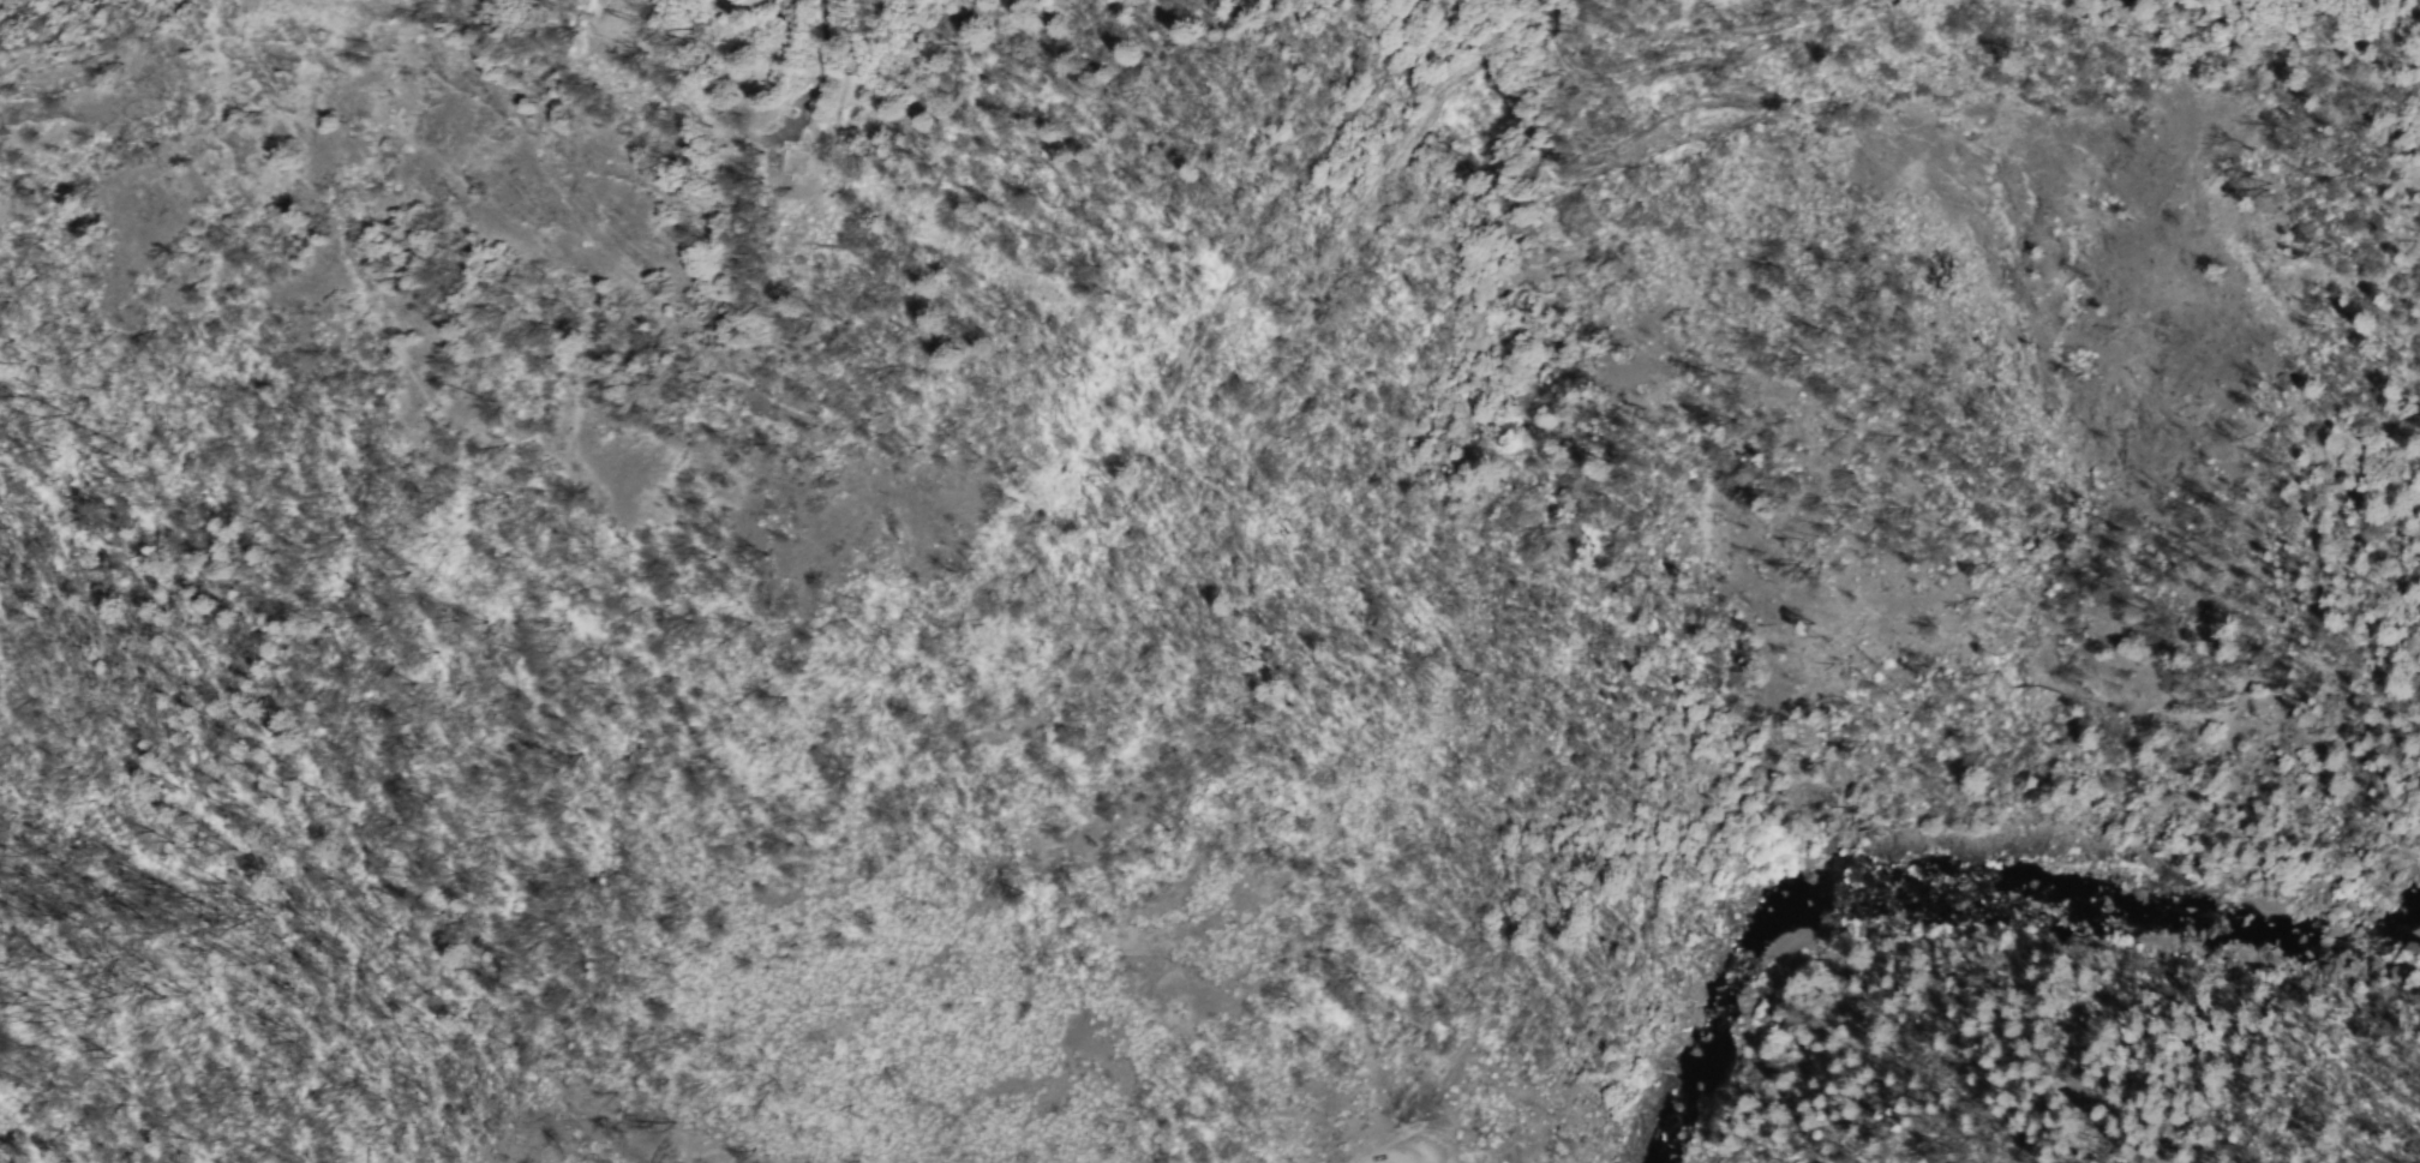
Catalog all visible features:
road: (767, 11)
river: (1957, 881)

